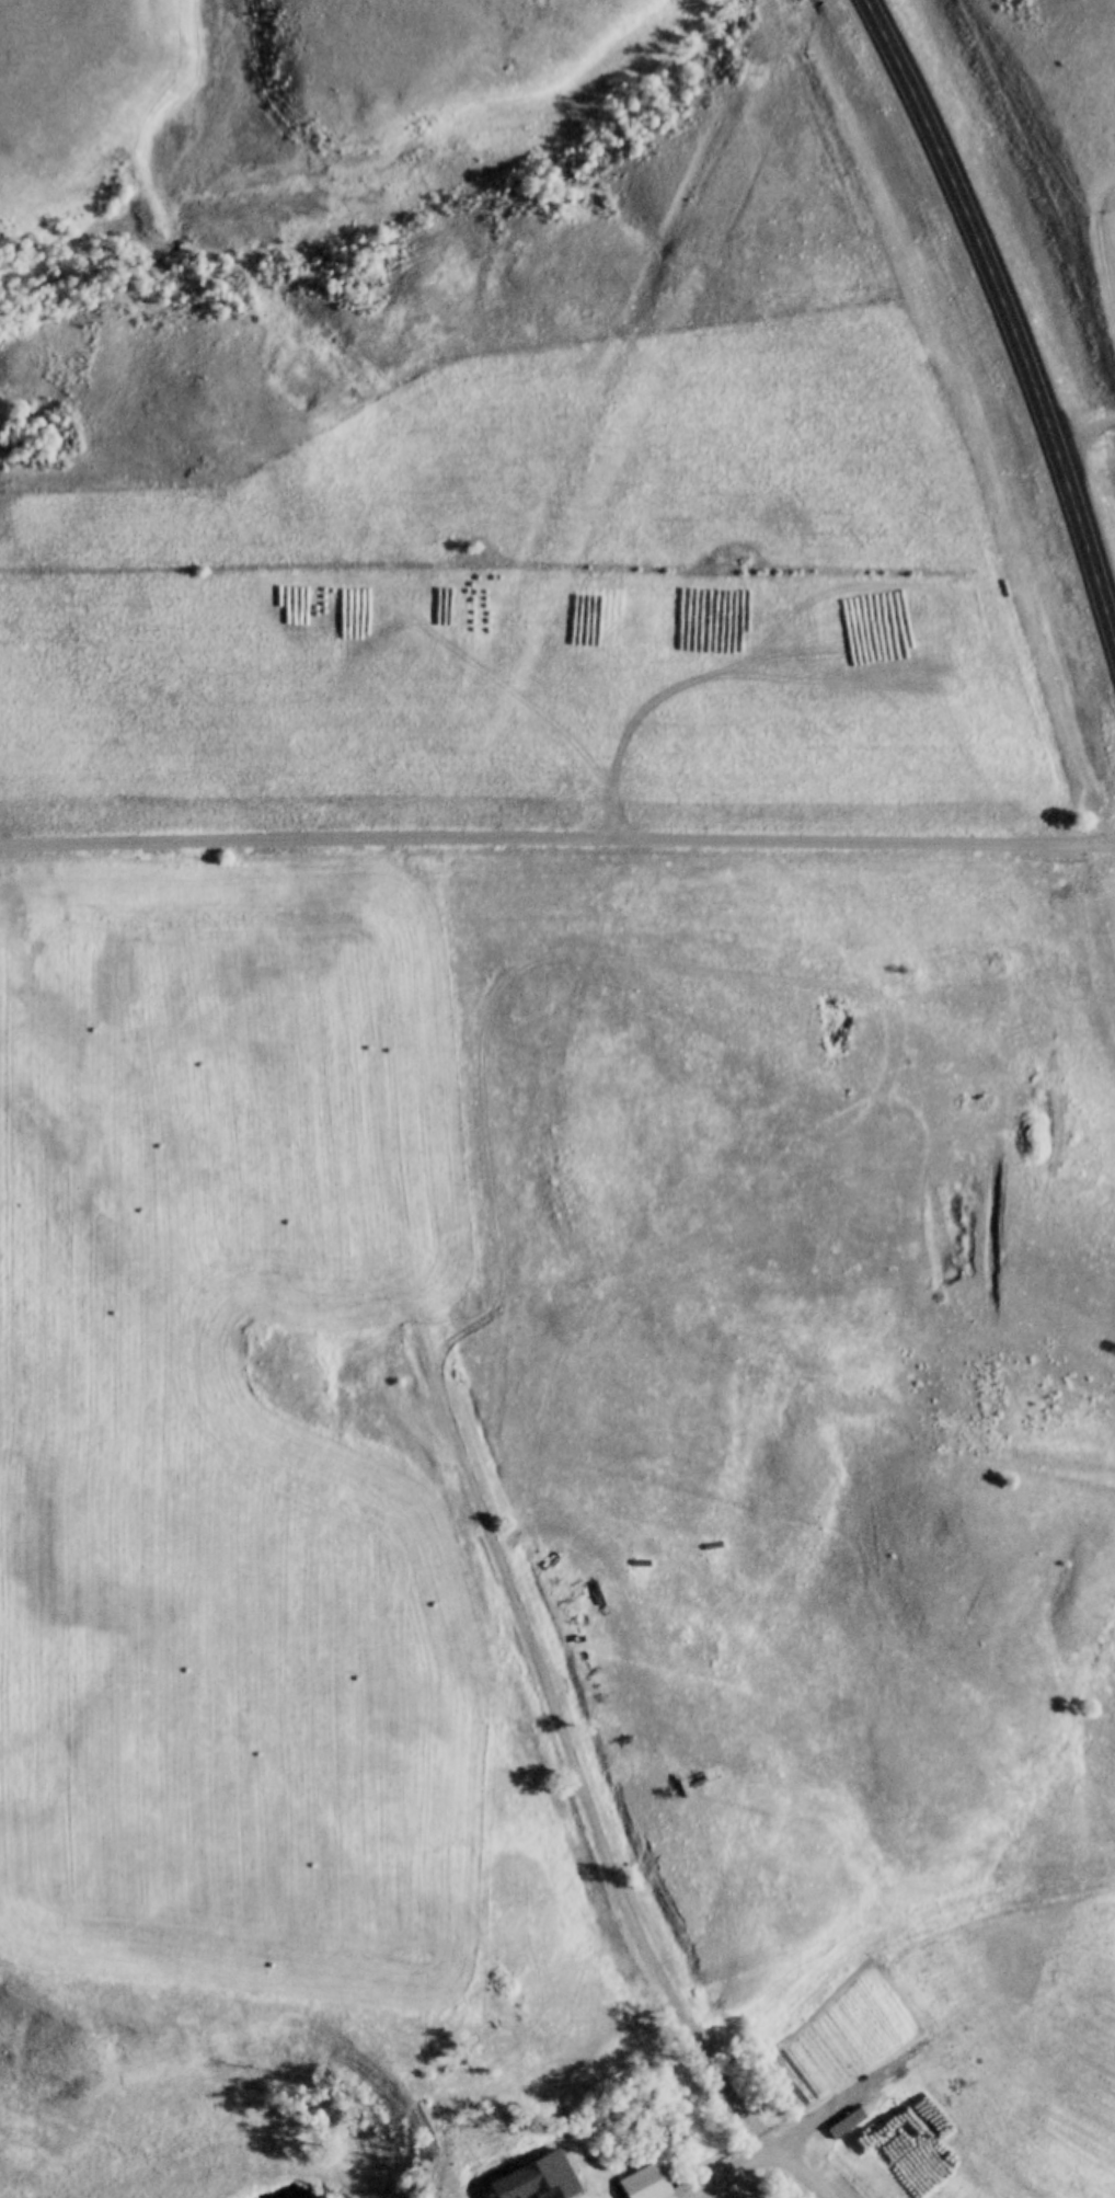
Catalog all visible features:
road: (1007, 306)
road: (557, 840)
quarry: (941, 1103)
road: (586, 1763)
road: (796, 2171)
road: (740, 2173)

